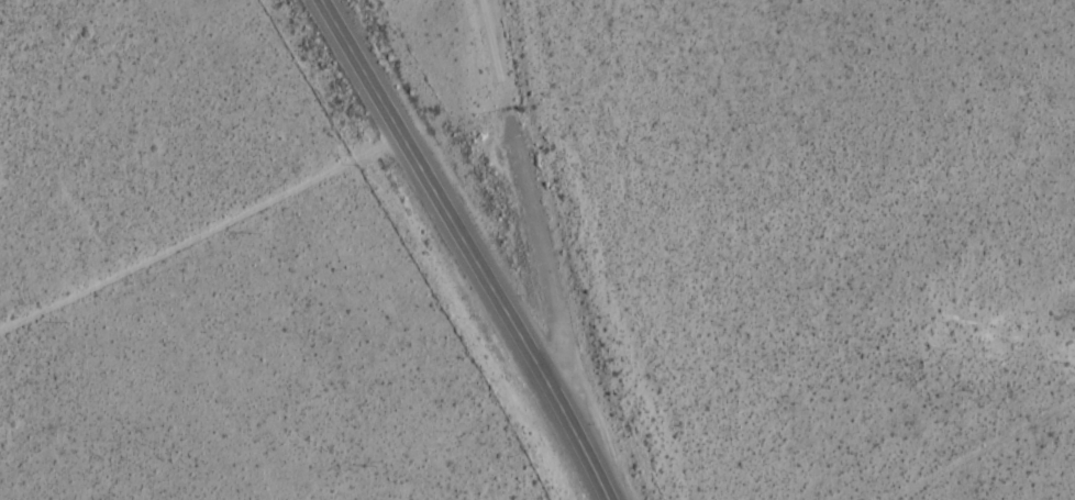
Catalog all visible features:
road: (545, 215)
road: (209, 234)
road: (486, 246)

